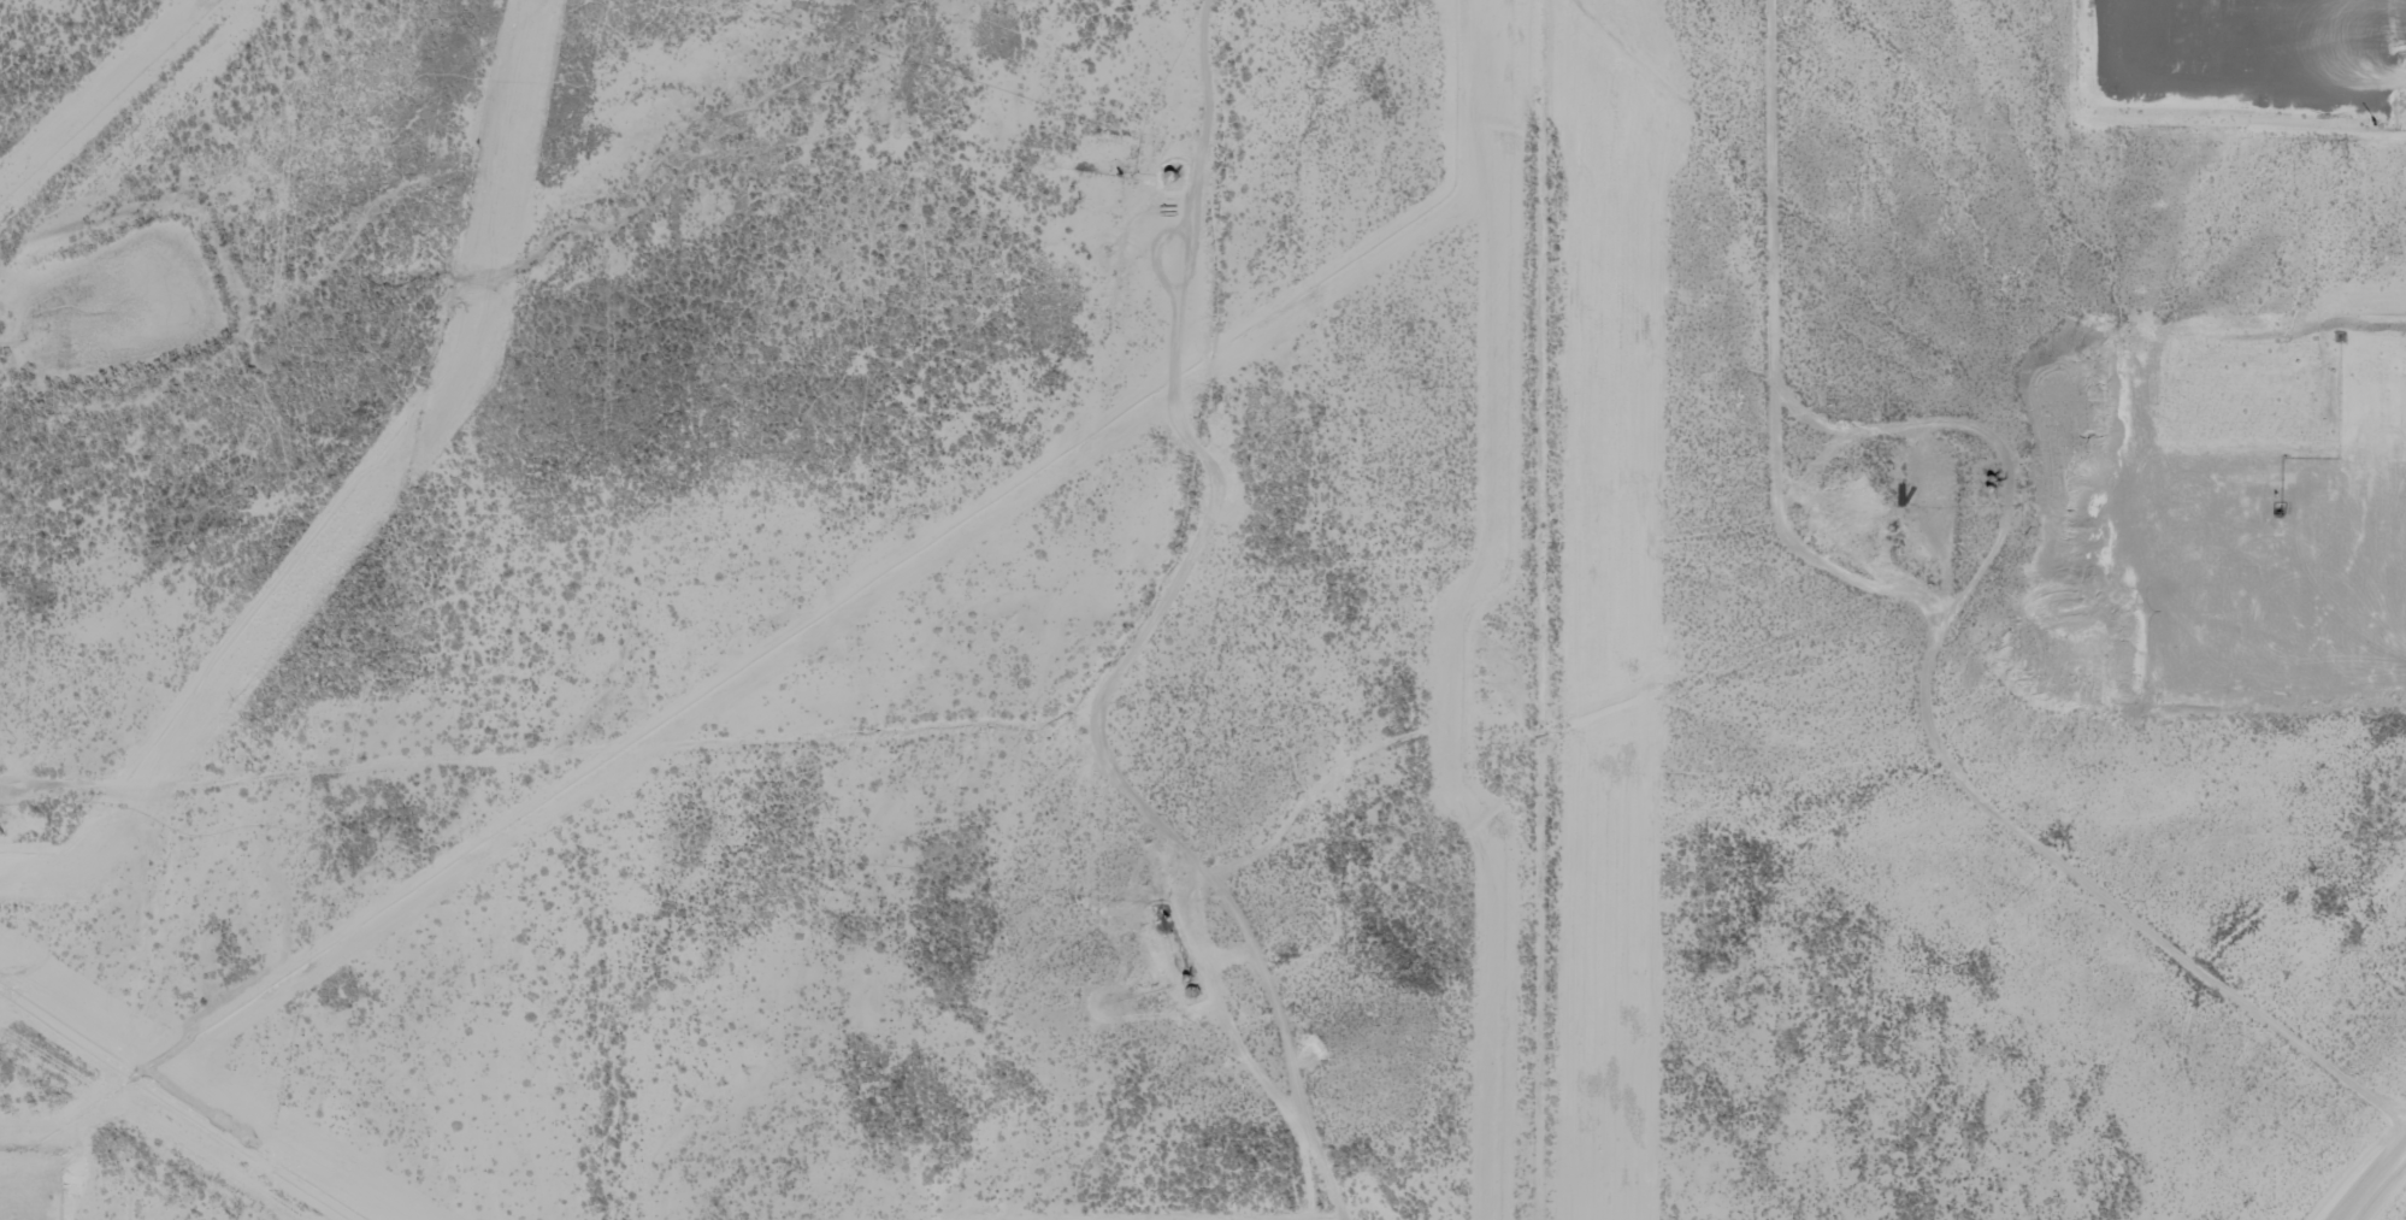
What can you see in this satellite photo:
road: (1750, 263)
road: (1254, 272)
road: (1797, 558)
road: (927, 640)
road: (499, 760)
road: (2388, 1174)

